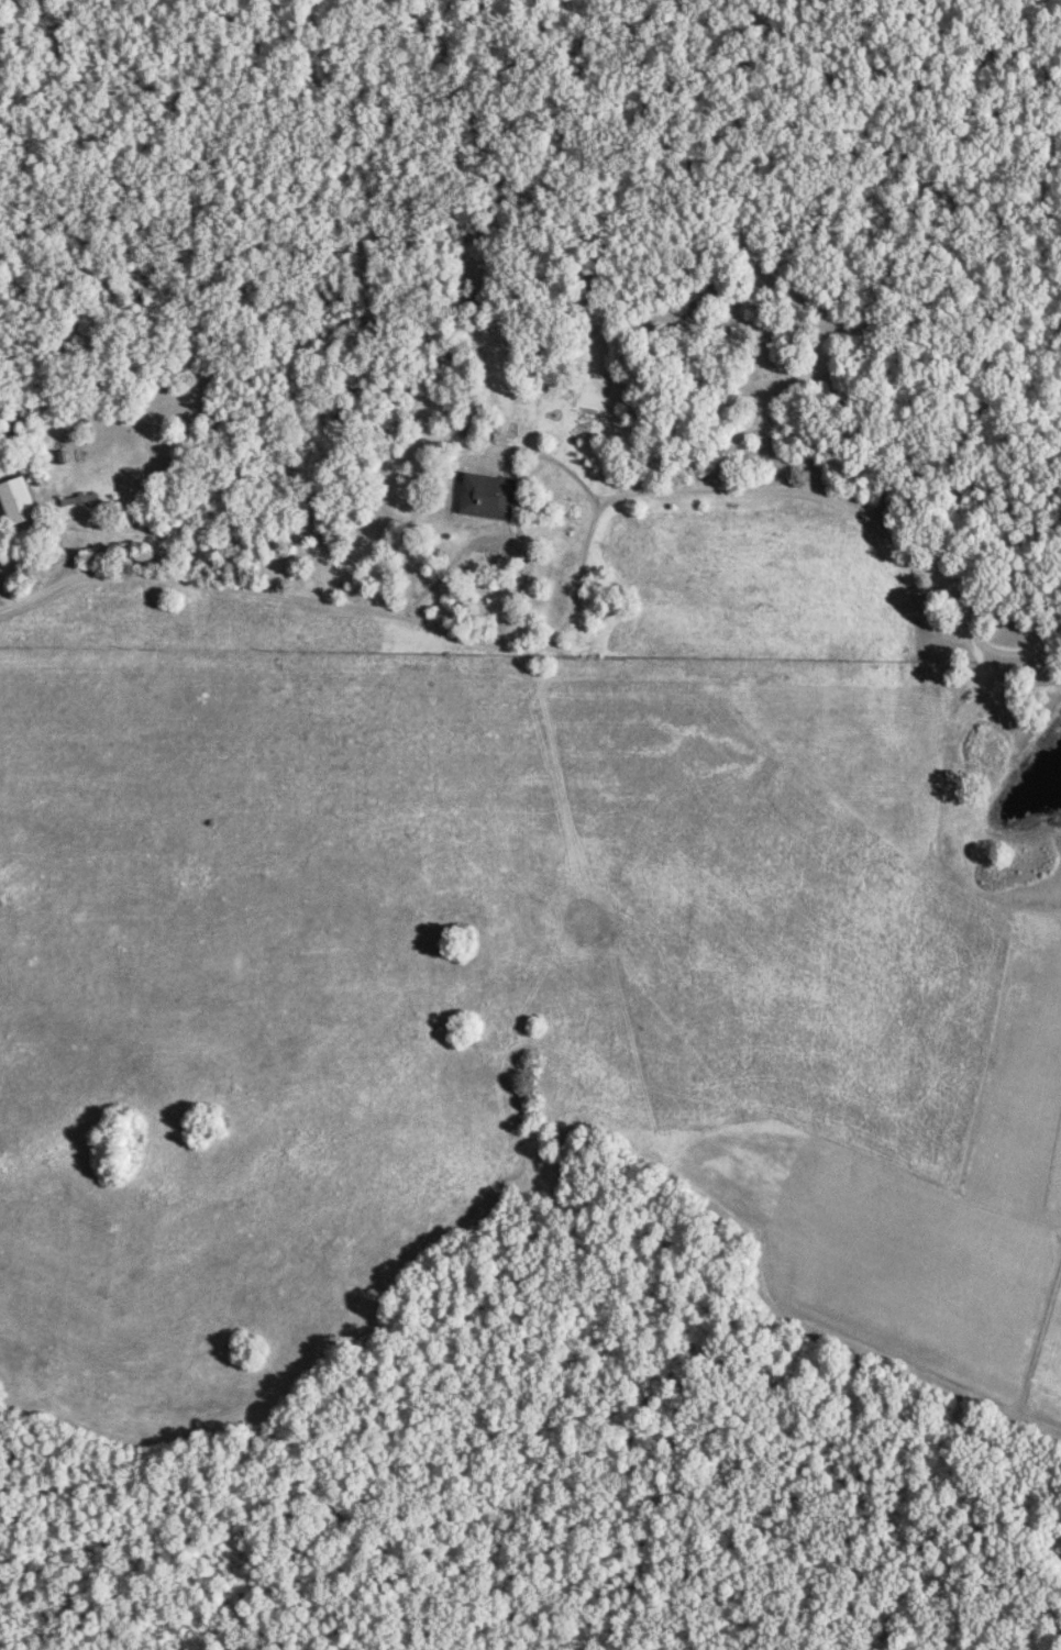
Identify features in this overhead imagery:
building: (21, 499)
road: (502, 538)
road: (581, 588)

